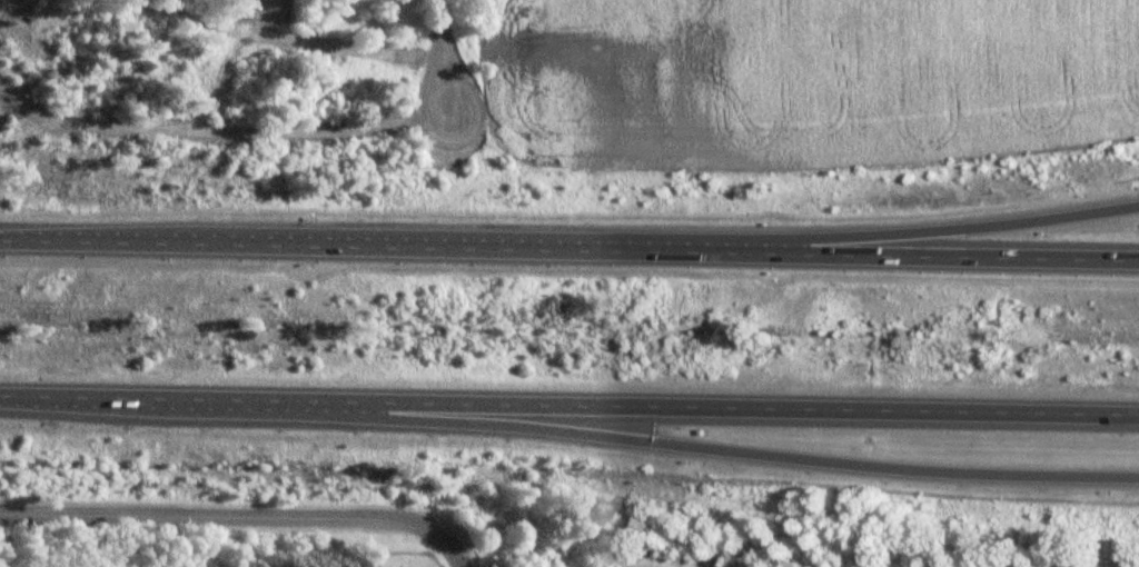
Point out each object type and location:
road: (309, 30)
road: (443, 49)
road: (218, 121)
road: (969, 229)
road: (569, 238)
road: (568, 406)
road: (782, 454)
road: (234, 516)
road: (454, 561)

